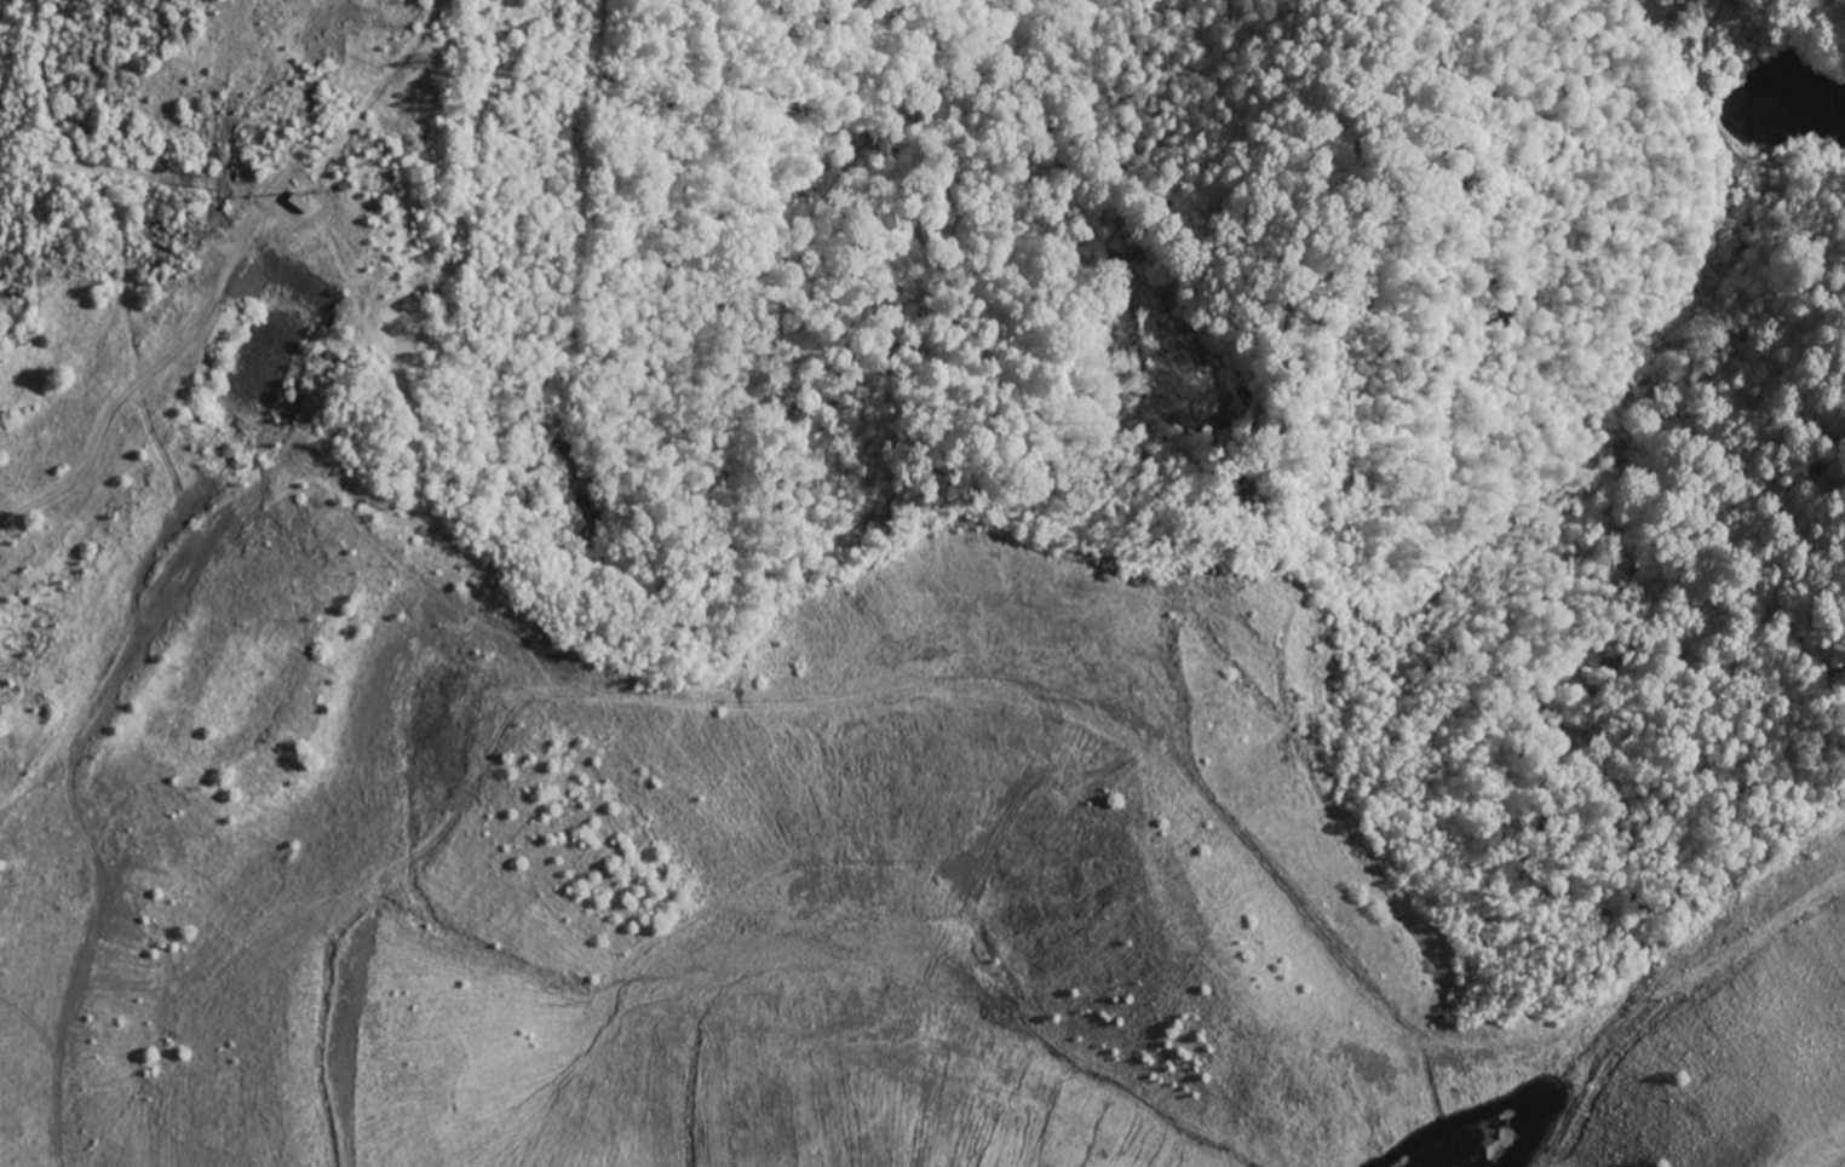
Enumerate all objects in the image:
road: (1772, 58)

